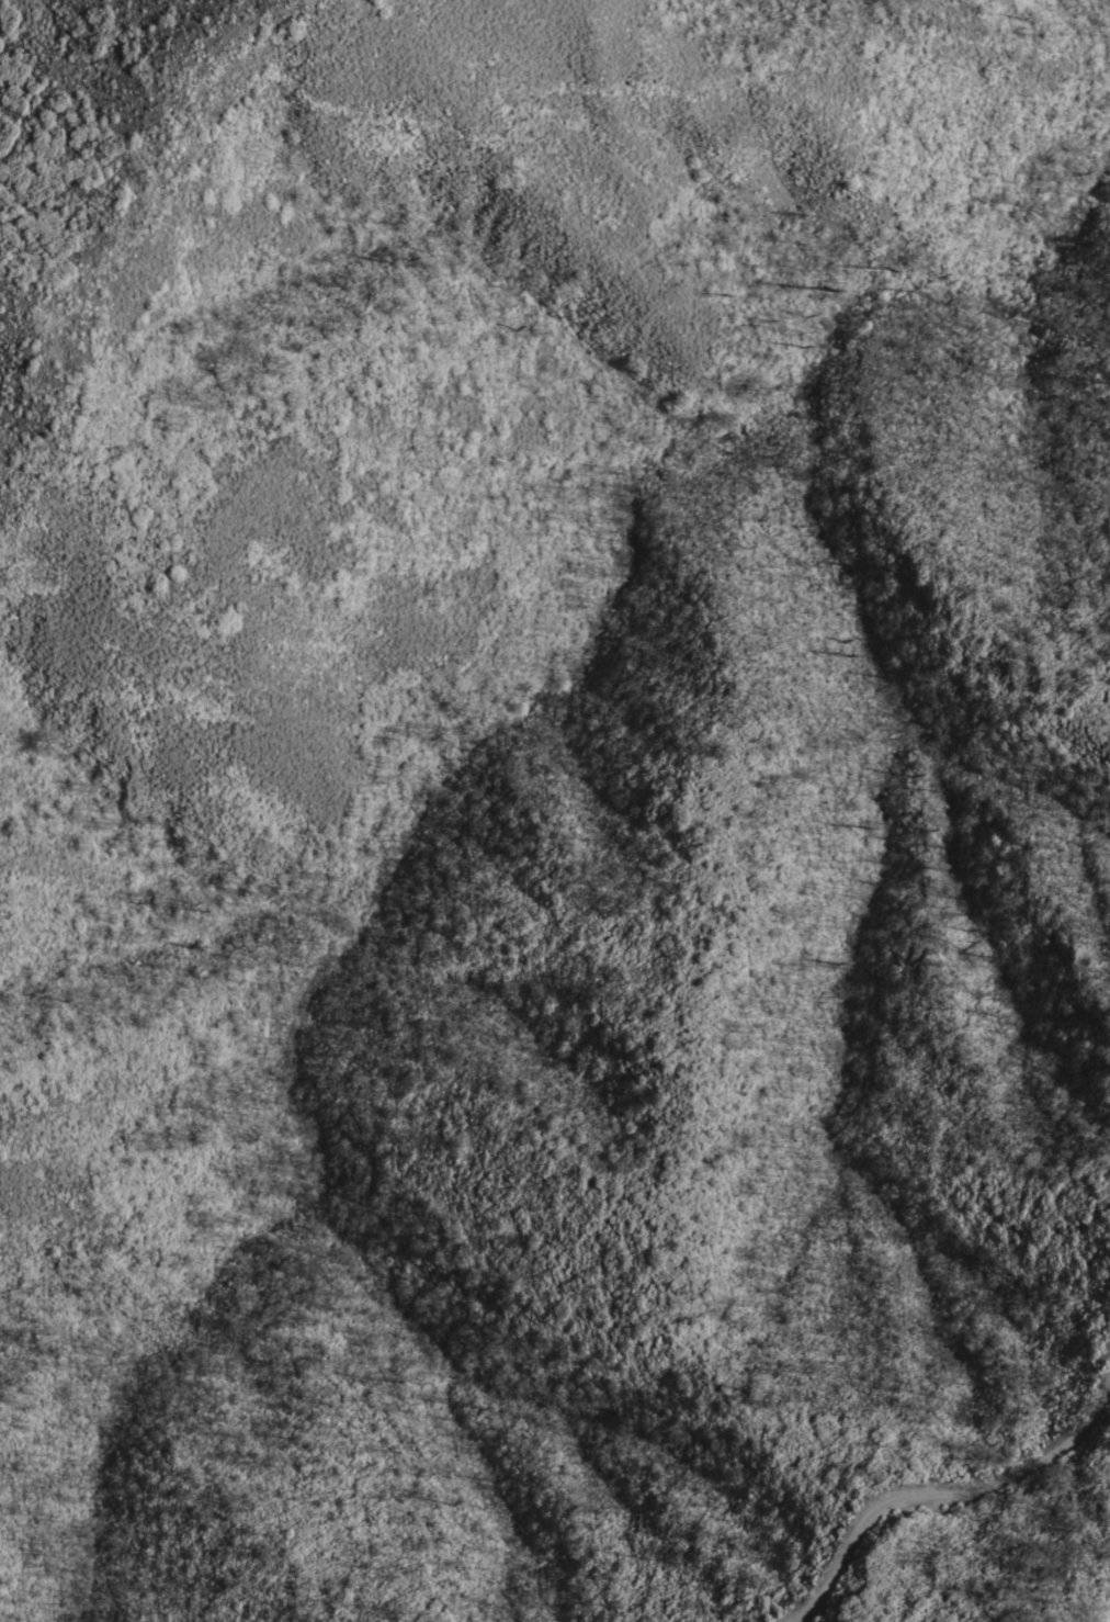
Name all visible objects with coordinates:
road: (947, 1496)

